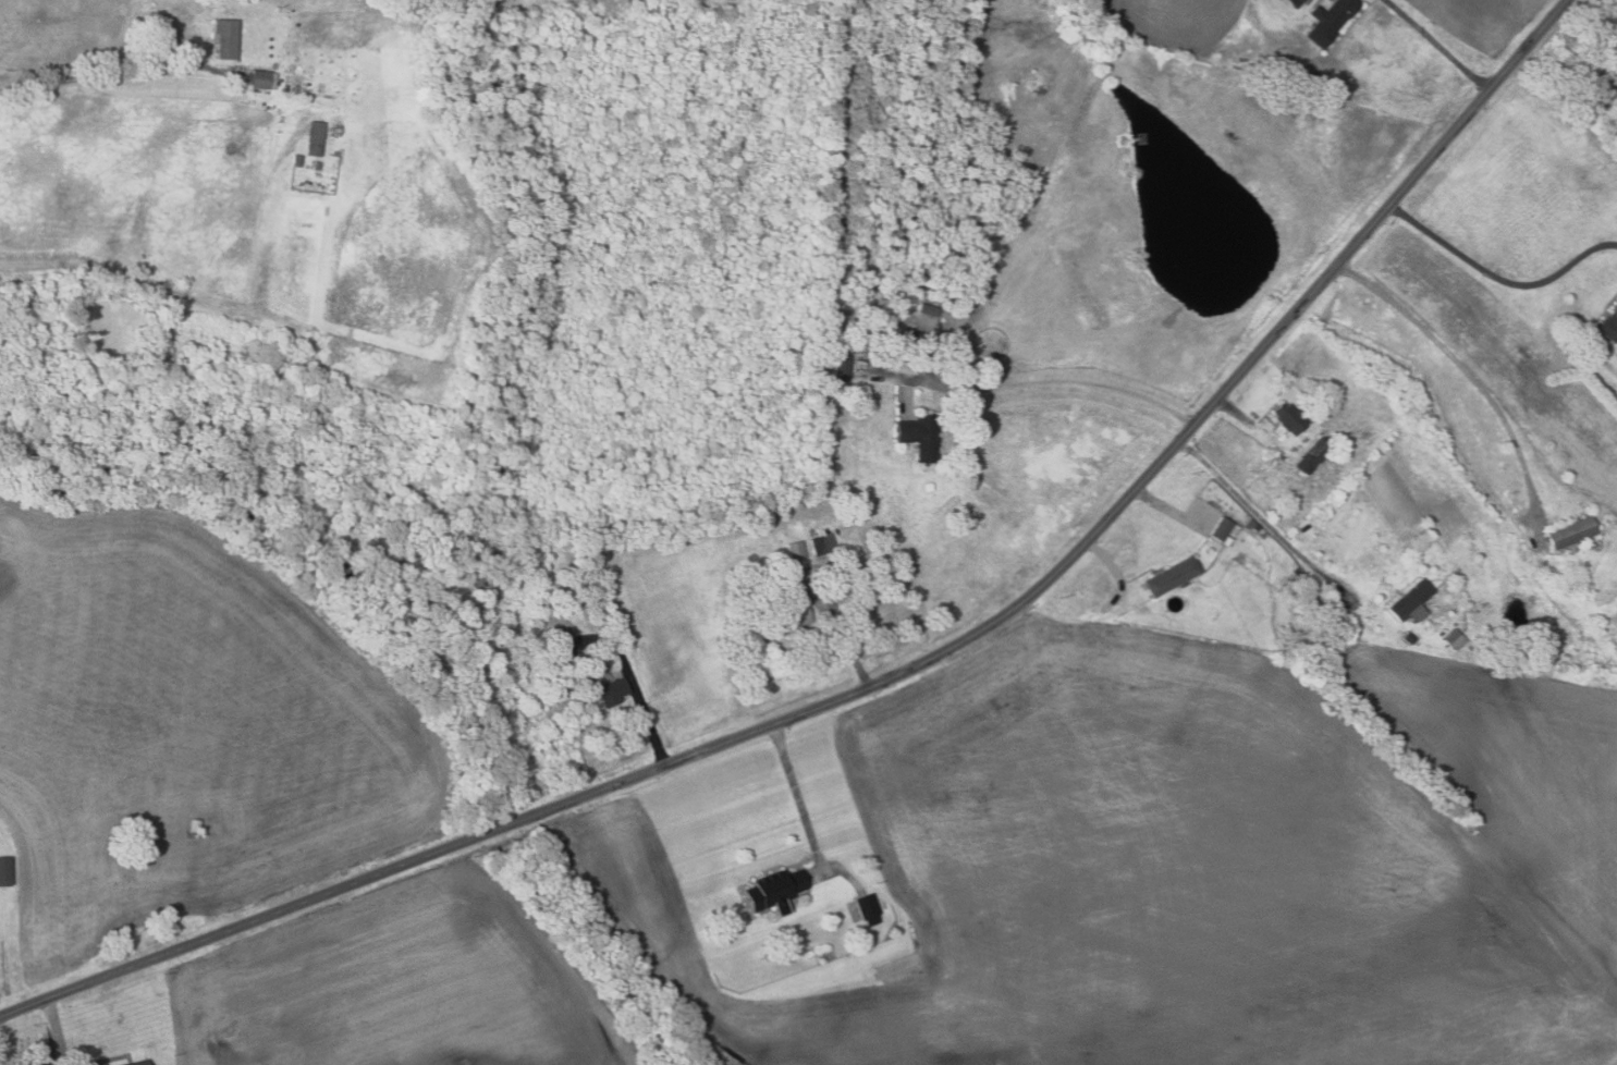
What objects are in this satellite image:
building: (1291, 2)
crop: (1481, 19)
building: (1327, 21)
crop: (1179, 26)
building: (224, 38)
road: (1438, 46)
road: (114, 74)
building: (258, 79)
building: (292, 85)
building: (320, 89)
building: (314, 138)
building: (294, 161)
building: (315, 166)
road: (1498, 280)
building: (969, 292)
building: (927, 309)
building: (1608, 326)
building: (916, 334)
road: (1461, 366)
building: (840, 372)
road: (1058, 382)
road: (1236, 413)
building: (1288, 418)
building: (918, 437)
building: (1313, 456)
building: (804, 504)
road: (1169, 507)
road: (1267, 523)
building: (1254, 527)
building: (1223, 531)
building: (1260, 532)
building: (1570, 534)
building: (822, 544)
building: (793, 551)
building: (1296, 572)
road: (1116, 573)
building: (1169, 576)
building: (479, 579)
building: (1576, 584)
building: (1409, 600)
building: (787, 620)
road: (840, 634)
building: (1408, 638)
building: (1454, 639)
building: (562, 644)
road: (896, 675)
building: (611, 693)
road: (645, 713)
road: (796, 792)
building: (193, 825)
crop: (1190, 868)
building: (3, 872)
building: (772, 887)
building: (867, 907)
road: (54, 1031)
building: (140, 1063)

